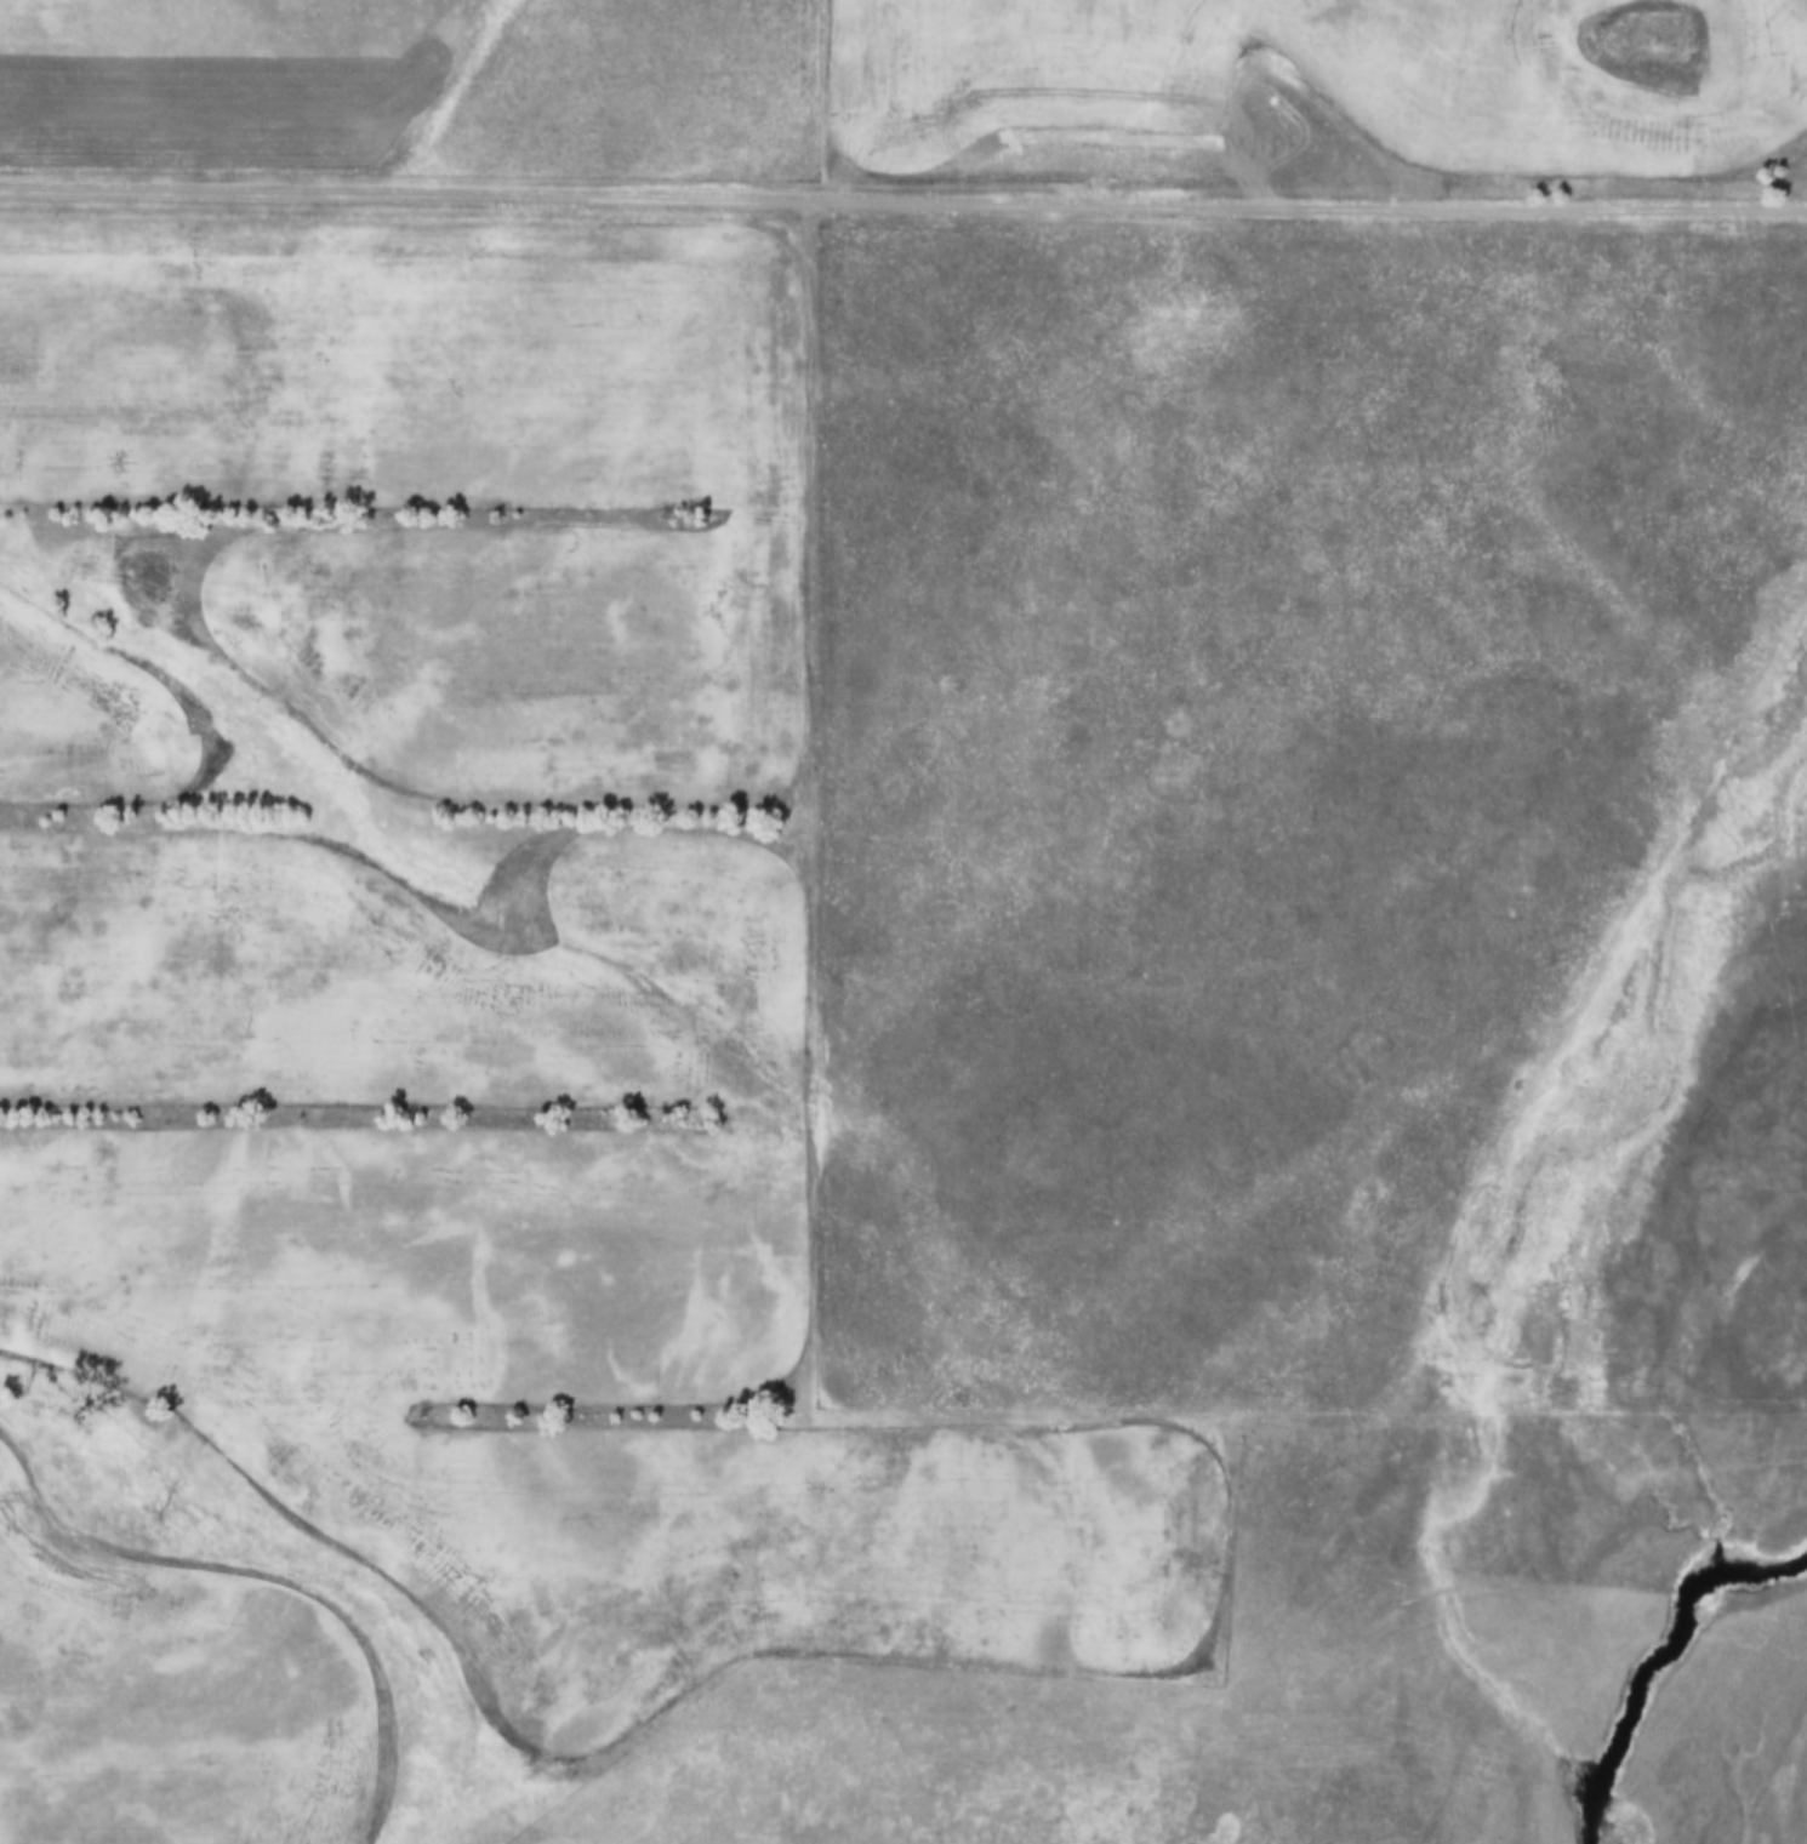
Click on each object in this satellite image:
road: (833, 102)
road: (902, 204)

